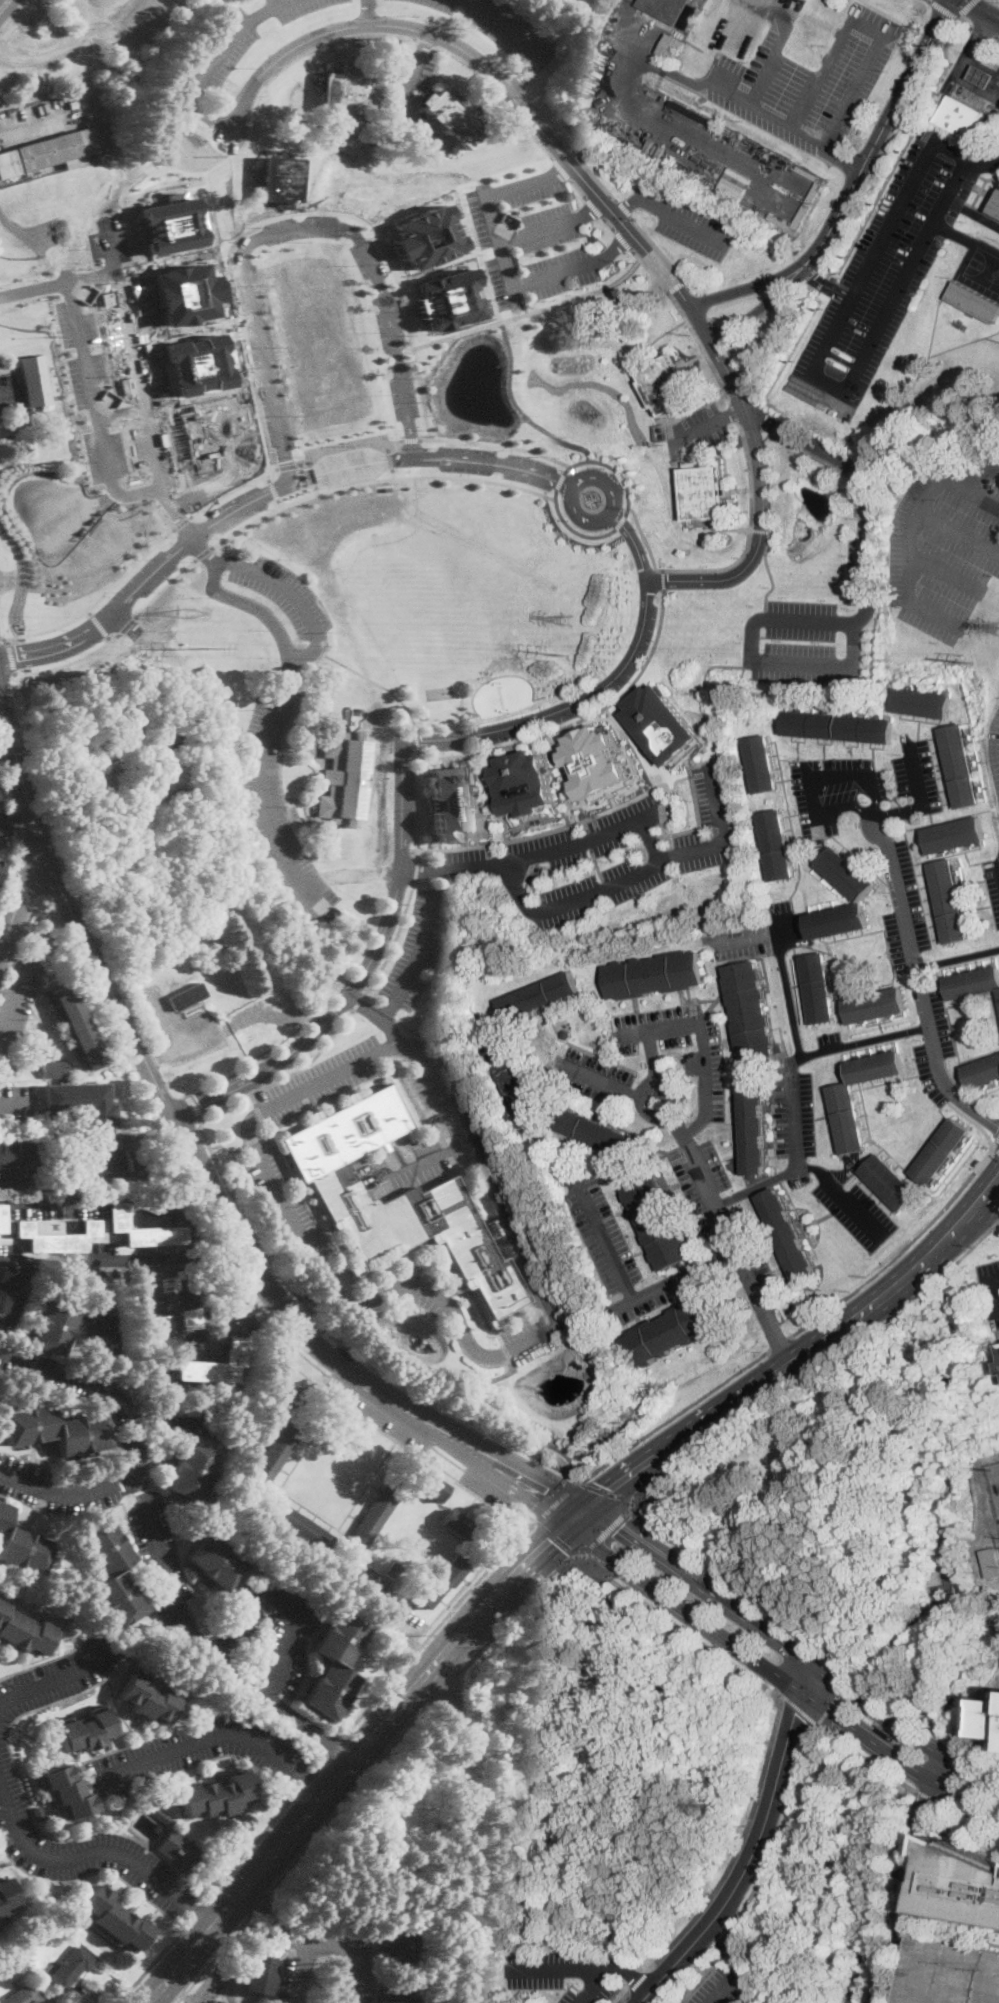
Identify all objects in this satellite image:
road: (930, 0)
road: (4, 5)
parking lot: (297, 7)
road: (102, 8)
road: (945, 8)
road: (965, 8)
road: (983, 8)
building: (672, 10)
road: (369, 11)
traffic signals: (943, 15)
building: (616, 18)
parking lot: (118, 22)
road: (965, 22)
road: (507, 26)
road: (866, 26)
parking lot: (504, 28)
road: (982, 29)
building: (610, 30)
road: (786, 33)
road: (996, 36)
road: (119, 37)
road: (226, 42)
road: (426, 43)
road: (637, 46)
building: (673, 46)
building: (604, 48)
road: (53, 53)
parking lot: (219, 53)
road: (985, 59)
road: (292, 61)
road: (962, 67)
road: (415, 72)
road: (527, 75)
building: (984, 75)
parking lot: (807, 80)
road: (510, 92)
road: (708, 92)
building: (349, 94)
road: (510, 107)
road: (209, 116)
building: (961, 116)
road: (901, 117)
building: (451, 120)
road: (31, 122)
building: (47, 153)
road: (983, 164)
road: (560, 169)
building: (279, 180)
road: (579, 189)
parking lot: (533, 196)
road: (488, 207)
road: (595, 208)
building: (996, 208)
parking lot: (546, 215)
road: (357, 219)
parking lot: (478, 220)
parking lot: (687, 222)
road: (610, 225)
road: (293, 226)
road: (554, 227)
road: (623, 228)
road: (954, 232)
building: (423, 236)
parking lot: (552, 240)
parking lot: (558, 260)
road: (809, 266)
parking lot: (888, 266)
park: (983, 268)
parking lot: (594, 277)
road: (58, 284)
parking lot: (497, 284)
road: (828, 286)
parking lot: (553, 289)
building: (446, 298)
road: (492, 300)
building: (974, 302)
road: (436, 359)
building: (684, 367)
road: (814, 369)
building: (34, 381)
road: (140, 386)
building: (665, 386)
road: (12, 394)
parking lot: (8, 398)
road: (96, 408)
road: (121, 412)
road: (425, 438)
road: (412, 440)
road: (392, 442)
road: (343, 447)
road: (592, 460)
road: (392, 461)
road: (289, 466)
road: (625, 477)
road: (472, 479)
road: (561, 480)
road: (232, 488)
road: (274, 489)
road: (574, 492)
building: (704, 493)
road: (266, 494)
road: (970, 495)
road: (633, 499)
road: (297, 500)
road: (280, 503)
road: (157, 513)
road: (623, 520)
road: (183, 521)
road: (573, 529)
road: (958, 531)
road: (910, 537)
road: (648, 539)
parking lot: (945, 545)
road: (202, 552)
road: (947, 573)
road: (666, 579)
road: (692, 579)
road: (164, 588)
parking lot: (283, 592)
road: (99, 599)
power tower: (188, 609)
road: (90, 611)
road: (861, 615)
power tower: (565, 619)
road: (100, 624)
road: (128, 625)
parking lot: (813, 630)
road: (109, 638)
road: (2, 639)
power tower: (204, 647)
road: (295, 653)
road: (11, 654)
power tower: (567, 655)
power tower: (975, 661)
road: (70, 662)
road: (376, 684)
building: (922, 703)
parking lot: (998, 713)
road: (579, 721)
building: (663, 722)
building: (840, 727)
road: (446, 737)
building: (161, 739)
road: (414, 740)
parking lot: (995, 751)
building: (595, 761)
building: (762, 764)
building: (961, 766)
road: (20, 777)
building: (342, 777)
building: (174, 778)
road: (816, 778)
building: (525, 783)
road: (7, 786)
parking lot: (864, 788)
road: (921, 794)
parking lot: (278, 797)
building: (451, 803)
road: (414, 804)
road: (597, 813)
road: (16, 821)
road: (16, 822)
parking lot: (5, 830)
building: (956, 835)
road: (22, 838)
building: (777, 844)
parking lot: (606, 854)
building: (0, 862)
building: (1, 866)
road: (358, 868)
road: (35, 869)
road: (413, 869)
road: (633, 870)
road: (11, 871)
building: (847, 874)
parking lot: (992, 885)
road: (18, 898)
building: (950, 901)
parking lot: (903, 906)
building: (838, 921)
parking lot: (762, 934)
road: (760, 935)
road: (393, 940)
parking lot: (415, 948)
road: (13, 955)
road: (416, 957)
road: (957, 958)
building: (258, 974)
road: (362, 974)
building: (655, 974)
road: (919, 983)
building: (973, 983)
building: (819, 988)
road: (13, 995)
building: (187, 995)
building: (539, 995)
road: (788, 995)
road: (359, 1002)
parking lot: (17, 1005)
building: (876, 1005)
building: (750, 1011)
road: (378, 1015)
road: (166, 1019)
building: (76, 1027)
building: (566, 1033)
parking lot: (677, 1034)
parking lot: (828, 1039)
parking lot: (932, 1039)
road: (864, 1042)
road: (706, 1047)
road: (180, 1049)
road: (652, 1055)
building: (54, 1069)
building: (983, 1072)
road: (287, 1076)
parking lot: (594, 1076)
road: (603, 1080)
parking lot: (323, 1081)
building: (515, 1082)
road: (16, 1100)
parking lot: (16, 1101)
building: (80, 1103)
road: (193, 1103)
parking lot: (793, 1114)
building: (849, 1118)
road: (974, 1121)
building: (754, 1126)
building: (595, 1131)
road: (995, 1141)
road: (226, 1149)
road: (995, 1149)
building: (942, 1151)
building: (15, 1152)
road: (796, 1155)
road: (433, 1156)
building: (112, 1159)
road: (201, 1169)
parking lot: (23, 1178)
road: (31, 1181)
building: (891, 1182)
road: (707, 1191)
road: (844, 1194)
road: (115, 1199)
parking lot: (285, 1199)
building: (397, 1199)
parking lot: (55, 1205)
parking lot: (856, 1211)
building: (2, 1219)
building: (657, 1220)
parking lot: (602, 1229)
building: (141, 1230)
building: (788, 1235)
building: (57, 1238)
road: (900, 1250)
parking lot: (753, 1251)
road: (336, 1252)
road: (121, 1257)
road: (228, 1258)
building: (354, 1270)
road: (991, 1280)
building: (5, 1287)
parking lot: (989, 1287)
parking lot: (655, 1293)
building: (185, 1296)
building: (306, 1296)
road: (630, 1296)
road: (447, 1302)
road: (994, 1308)
parking lot: (107, 1325)
building: (52, 1326)
building: (671, 1331)
road: (184, 1339)
parking lot: (530, 1339)
road: (348, 1341)
road: (111, 1343)
parking lot: (283, 1343)
road: (780, 1343)
road: (791, 1363)
building: (212, 1365)
road: (818, 1370)
building: (287, 1388)
parking lot: (379, 1414)
road: (496, 1415)
road: (170, 1418)
road: (671, 1418)
building: (55, 1430)
road: (392, 1437)
road: (305, 1440)
building: (276, 1454)
road: (515, 1462)
building: (190, 1470)
road: (500, 1478)
power substation: (994, 1482)
building: (431, 1485)
parking lot: (57, 1487)
traffic signals: (612, 1489)
parking lot: (488, 1490)
road: (70, 1493)
road: (606, 1493)
road: (967, 1494)
road: (556, 1501)
traffic signals: (536, 1504)
road: (308, 1508)
building: (373, 1519)
road: (944, 1519)
road: (537, 1520)
road: (537, 1522)
building: (299, 1524)
building: (458, 1524)
traffic signals: (617, 1530)
road: (608, 1532)
road: (557, 1537)
traffic signals: (551, 1540)
building: (21, 1546)
road: (161, 1555)
parking lot: (160, 1557)
building: (216, 1561)
road: (571, 1562)
building: (990, 1562)
road: (594, 1566)
building: (394, 1569)
building: (110, 1573)
road: (464, 1578)
building: (442, 1580)
road: (459, 1590)
road: (936, 1590)
parking lot: (384, 1600)
road: (443, 1601)
road: (967, 1612)
road: (296, 1619)
road: (435, 1619)
road: (395, 1620)
road: (509, 1621)
parking lot: (232, 1626)
road: (437, 1626)
building: (23, 1629)
road: (692, 1635)
road: (895, 1638)
road: (807, 1641)
road: (226, 1643)
road: (790, 1650)
road: (935, 1662)
building: (334, 1664)
road: (778, 1677)
road: (51, 1681)
road: (446, 1690)
road: (779, 1695)
road: (778, 1696)
building: (148, 1697)
road: (836, 1699)
road: (800, 1709)
road: (976, 1719)
building: (993, 1719)
building: (87, 1731)
building: (889, 1733)
road: (214, 1734)
road: (336, 1747)
parking lot: (199, 1752)
road: (868, 1759)
road: (353, 1762)
road: (322, 1763)
road: (943, 1772)
road: (308, 1779)
parking lot: (9, 1782)
building: (69, 1792)
building: (217, 1796)
road: (929, 1797)
road: (28, 1800)
road: (348, 1801)
building: (39, 1814)
building: (161, 1815)
road: (968, 1817)
road: (785, 1823)
road: (460, 1832)
road: (252, 1845)
road: (754, 1849)
road: (739, 1850)
building: (181, 1851)
road: (858, 1854)
road: (78, 1856)
road: (909, 1866)
road: (211, 1877)
building: (961, 1883)
building: (7, 1898)
road: (260, 1906)
road: (196, 1911)
road: (203, 1914)
building: (114, 1920)
road: (723, 1933)
road: (486, 1942)
building: (70, 1943)
road: (731, 1943)
building: (398, 1944)
road: (316, 1946)
road: (862, 1950)
parking lot: (358, 1953)
road: (715, 1955)
road: (215, 1959)
road: (153, 1964)
building: (72, 1968)
road: (579, 1968)
parking lot: (568, 1970)
building: (952, 1973)
parking lot: (952, 1973)
road: (297, 1974)
building: (258, 1975)
road: (639, 1980)
road: (700, 1981)
road: (854, 1984)
road: (593, 1985)
road: (728, 1986)
road: (742, 1986)
parking lot: (714, 1987)
road: (201, 1989)
building: (24, 1994)
building: (399, 1995)
road: (624, 1997)

